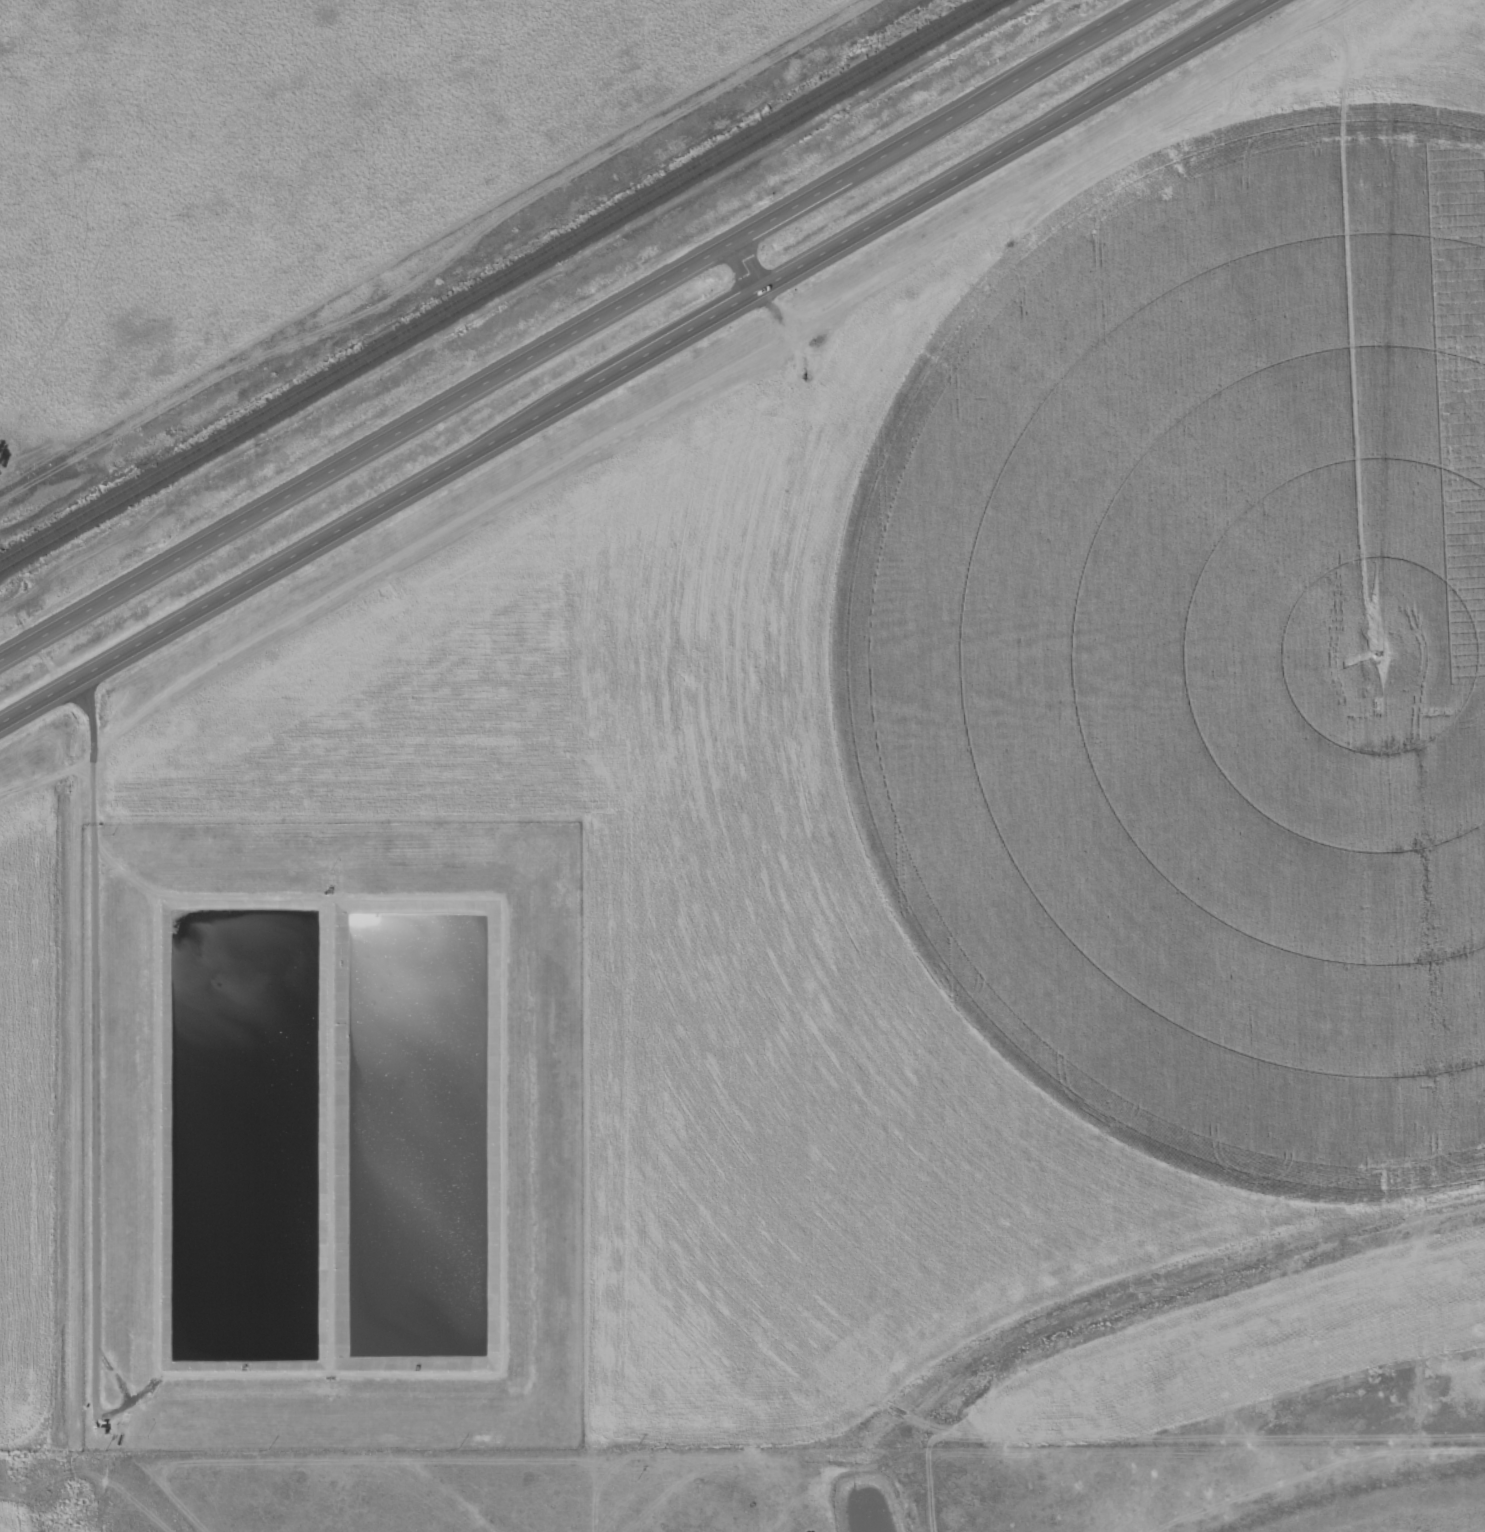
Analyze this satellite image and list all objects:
railway: (493, 281)
railway: (500, 286)
road: (578, 333)
road: (636, 364)

